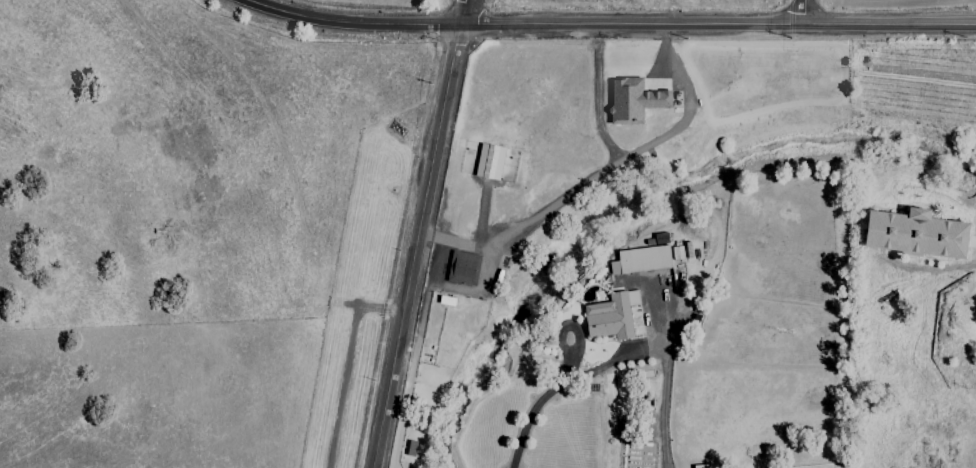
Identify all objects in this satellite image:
road: (804, 11)
road: (466, 14)
road: (609, 25)
building: (633, 100)
road: (623, 158)
building: (488, 161)
park: (215, 162)
building: (914, 234)
road: (446, 239)
road: (415, 247)
building: (645, 257)
building: (462, 268)
building: (610, 316)
road: (615, 356)
road: (345, 365)

